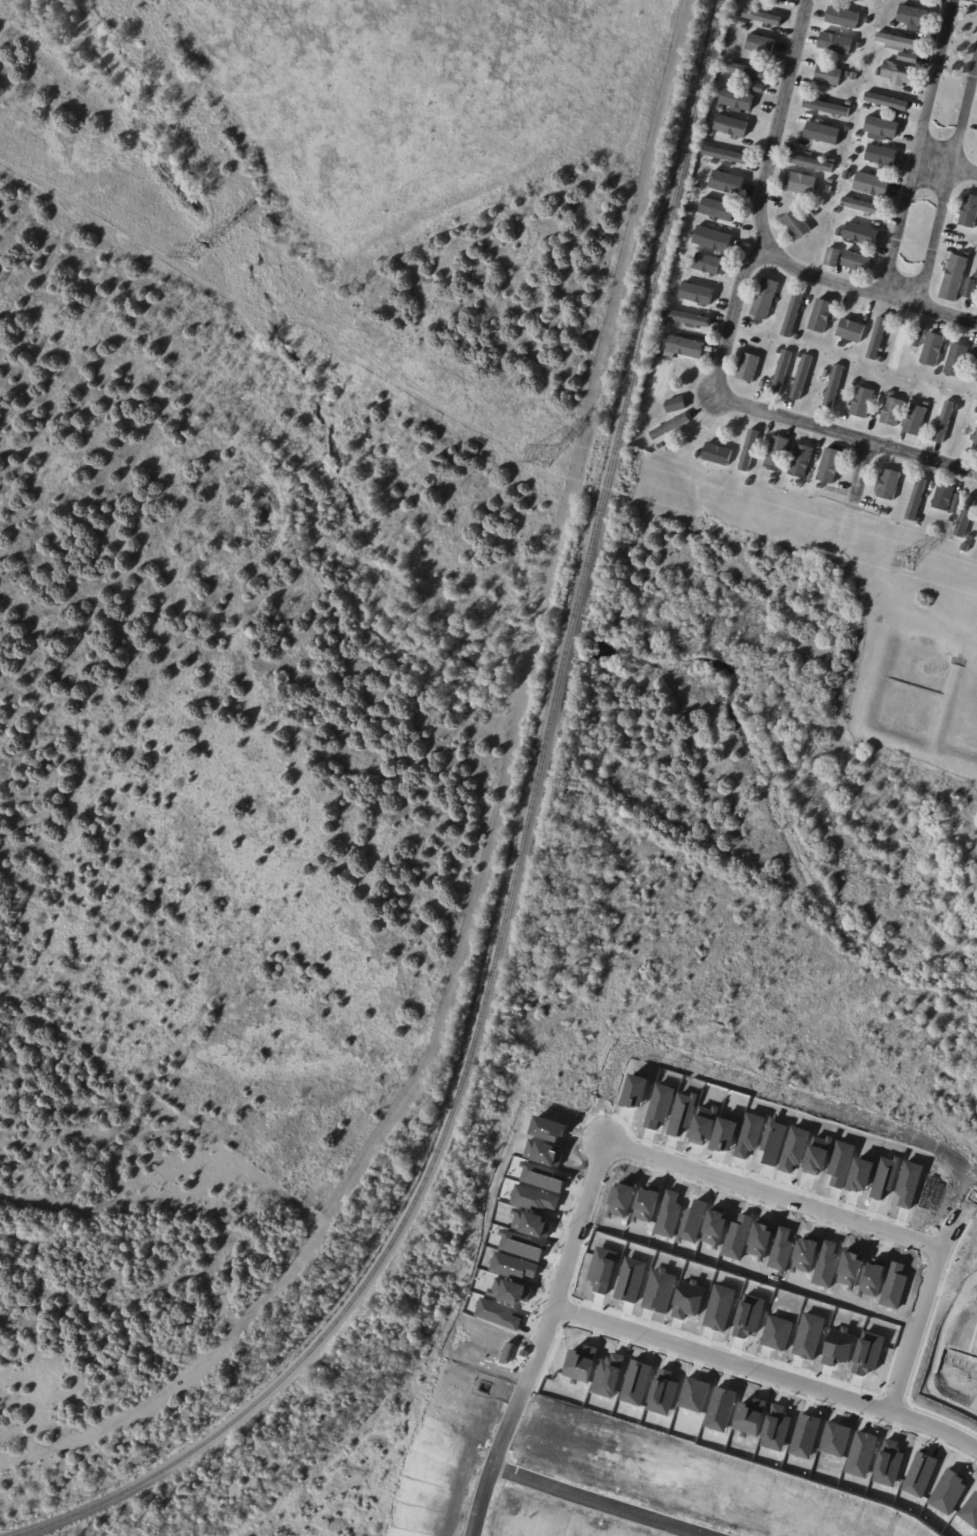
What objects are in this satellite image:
building: (783, 0)
building: (859, 0)
building: (915, 17)
building: (762, 18)
building: (844, 18)
building: (868, 21)
building: (744, 23)
building: (893, 24)
building: (746, 29)
building: (899, 42)
building: (837, 43)
building: (762, 45)
building: (860, 46)
building: (909, 59)
building: (748, 70)
building: (879, 73)
building: (900, 73)
building: (849, 75)
building: (829, 76)
building: (755, 89)
building: (738, 101)
building: (887, 101)
building: (849, 103)
building: (827, 108)
building: (867, 108)
building: (730, 110)
building: (841, 126)
building: (732, 127)
building: (883, 128)
building: (822, 134)
building: (860, 135)
road: (917, 147)
building: (726, 155)
building: (882, 156)
building: (834, 161)
building: (852, 161)
building: (714, 162)
building: (811, 163)
road: (946, 164)
road: (946, 180)
building: (832, 181)
building: (728, 183)
building: (801, 184)
building: (872, 185)
building: (698, 189)
building: (713, 205)
building: (862, 206)
building: (837, 211)
building: (693, 212)
building: (970, 213)
building: (813, 214)
building: (797, 225)
building: (839, 234)
building: (862, 235)
building: (713, 240)
power tower: (194, 249)
building: (967, 254)
building: (834, 258)
building: (857, 262)
building: (683, 266)
building: (708, 266)
building: (954, 279)
building: (975, 280)
building: (970, 290)
road: (868, 291)
building: (674, 293)
building: (698, 295)
building: (765, 299)
railway: (647, 313)
building: (793, 316)
building: (822, 317)
building: (688, 318)
building: (755, 322)
building: (667, 325)
road: (728, 326)
building: (852, 332)
building: (797, 337)
building: (878, 339)
building: (920, 339)
building: (660, 346)
building: (684, 347)
building: (903, 347)
building: (933, 350)
building: (780, 351)
building: (800, 356)
building: (974, 358)
building: (882, 360)
building: (957, 361)
building: (749, 368)
building: (937, 373)
building: (782, 374)
building: (976, 377)
building: (802, 378)
building: (661, 379)
building: (855, 384)
building: (835, 387)
building: (892, 392)
building: (928, 395)
building: (863, 403)
building: (927, 404)
building: (676, 405)
building: (958, 407)
building: (976, 411)
building: (893, 412)
building: (916, 420)
building: (944, 423)
building: (670, 427)
building: (660, 446)
building: (975, 448)
building: (750, 451)
power tower: (547, 452)
building: (698, 454)
building: (777, 454)
building: (718, 455)
building: (802, 461)
building: (830, 466)
road: (860, 473)
building: (774, 476)
building: (748, 479)
building: (795, 482)
building: (773, 483)
building: (801, 484)
building: (888, 485)
building: (820, 487)
building: (944, 497)
building: (917, 501)
building: (878, 503)
building: (959, 503)
building: (966, 515)
building: (951, 520)
building: (970, 537)
power tower: (910, 559)
railway: (573, 635)
railway: (421, 1181)
road: (780, 1193)
road: (930, 1309)
road: (545, 1340)
road: (769, 1364)
road: (599, 1504)

